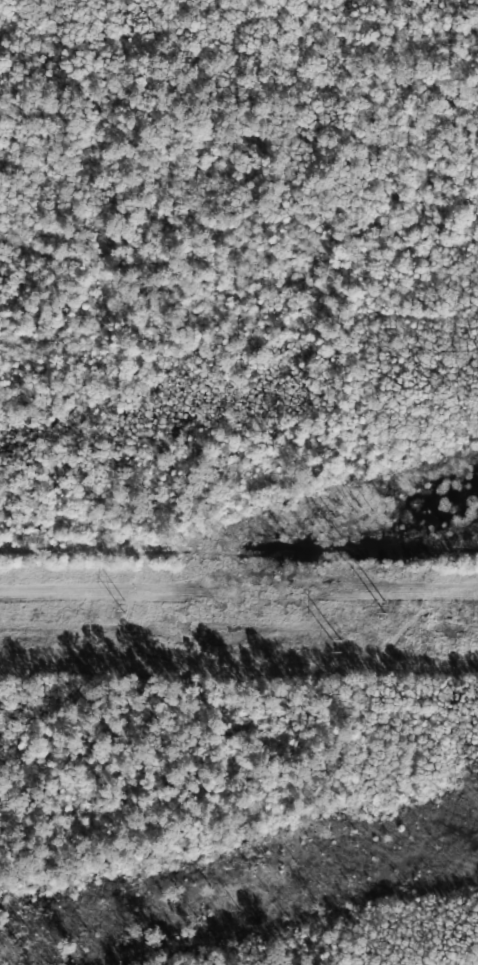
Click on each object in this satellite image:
power tower: (341, 649)

